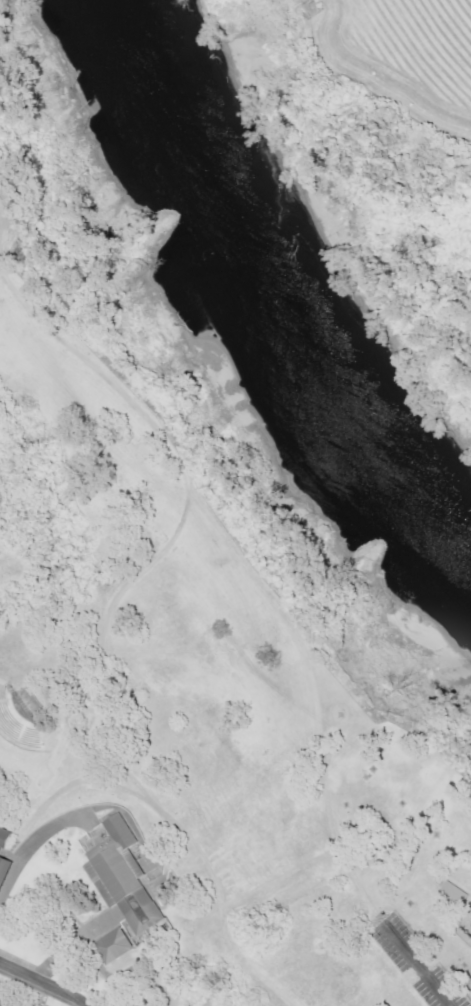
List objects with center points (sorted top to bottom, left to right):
road: (12, 218)
river: (314, 259)
road: (187, 516)
road: (256, 565)
park: (194, 655)
road: (97, 790)
road: (157, 809)
building: (4, 838)
building: (3, 868)
building: (117, 886)
building: (453, 892)
road: (100, 912)
road: (227, 941)
parking lot: (418, 963)
road: (425, 969)
road: (57, 970)
road: (45, 983)
parking lot: (15, 998)

